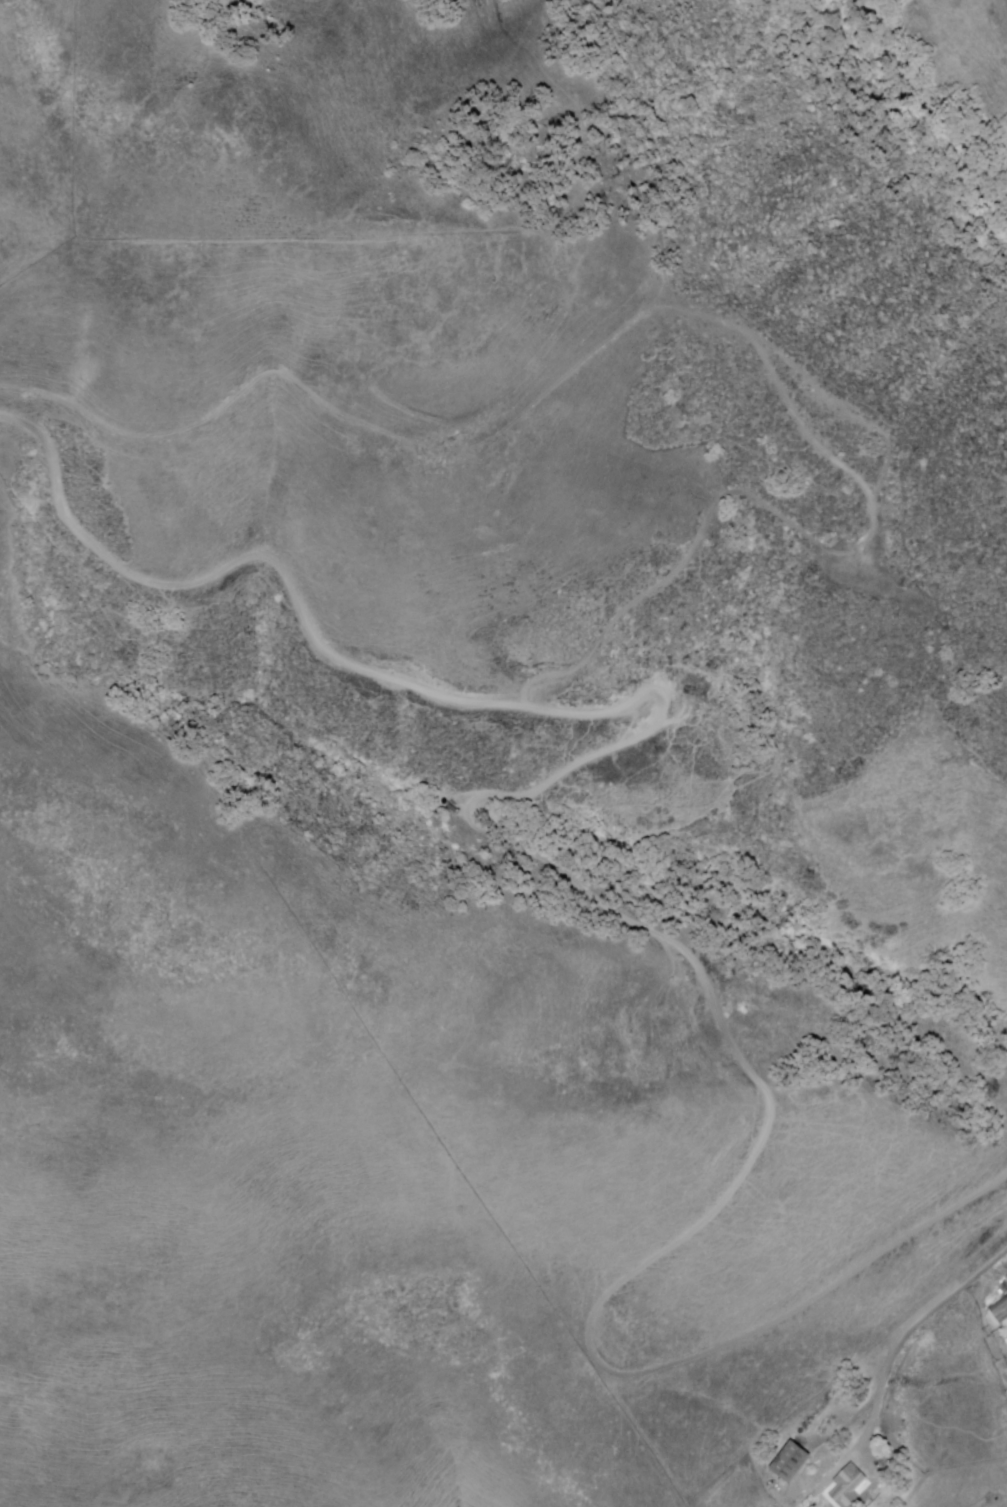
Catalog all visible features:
road: (530, 846)
building: (1006, 1276)
building: (999, 1311)
road: (908, 1337)
building: (792, 1461)
building: (850, 1487)

